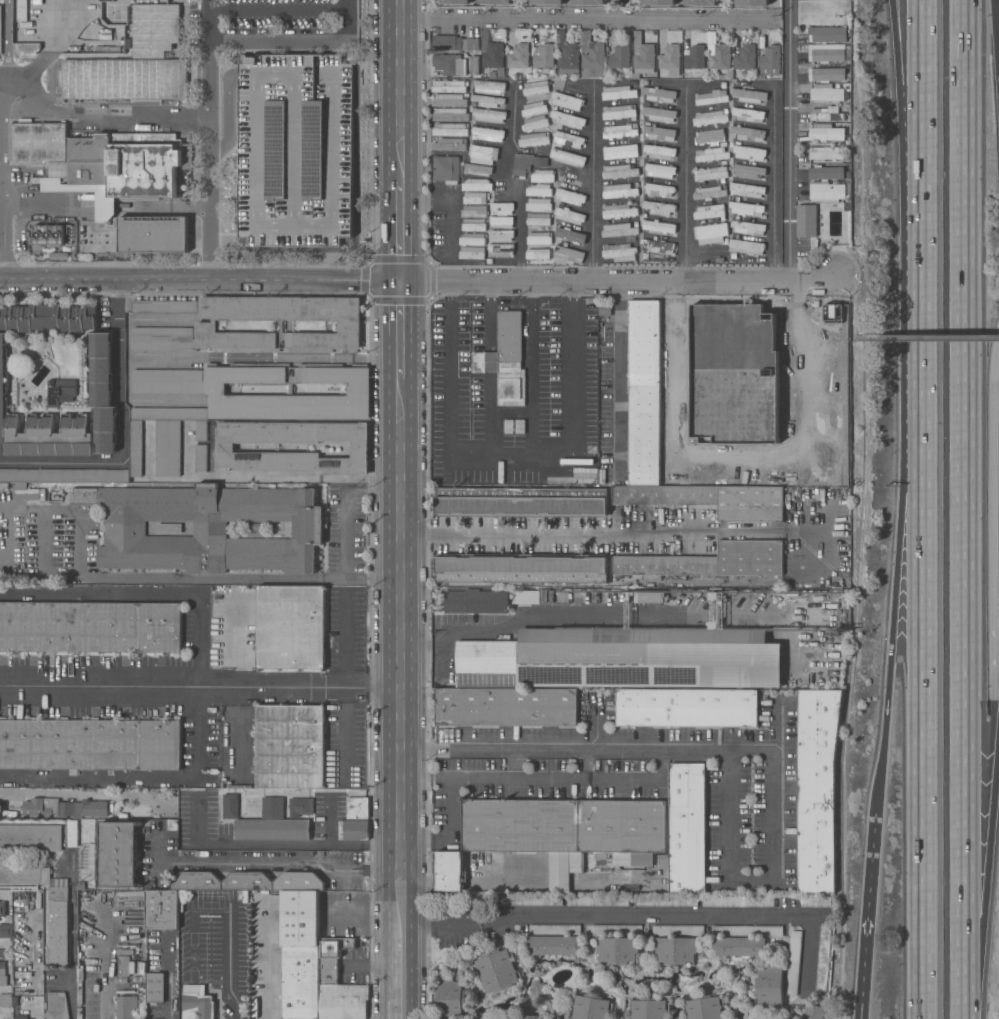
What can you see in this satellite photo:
building: (454, 1)
road: (474, 1)
building: (496, 2)
building: (547, 2)
road: (567, 2)
building: (589, 2)
building: (660, 2)
building: (701, 2)
building: (753, 2)
road: (586, 20)
road: (997, 20)
building: (155, 29)
building: (828, 34)
road: (6, 38)
road: (297, 39)
road: (51, 43)
building: (718, 53)
building: (473, 54)
building: (567, 55)
building: (642, 55)
building: (669, 55)
building: (827, 55)
building: (448, 56)
building: (519, 56)
building: (544, 56)
building: (592, 56)
building: (619, 57)
building: (695, 57)
building: (745, 57)
building: (494, 59)
building: (770, 60)
building: (827, 74)
building: (124, 79)
building: (448, 86)
building: (488, 86)
building: (535, 87)
road: (402, 91)
building: (618, 92)
building: (827, 92)
road: (910, 93)
road: (921, 93)
building: (659, 94)
building: (749, 95)
building: (267, 97)
building: (712, 97)
building: (803, 97)
building: (449, 100)
building: (487, 100)
building: (566, 100)
building: (534, 109)
building: (618, 111)
building: (450, 114)
building: (660, 114)
building: (748, 114)
building: (827, 114)
road: (95, 115)
building: (488, 115)
building: (710, 118)
building: (568, 119)
road: (1, 122)
building: (535, 123)
building: (449, 129)
building: (619, 131)
building: (827, 132)
building: (659, 133)
building: (748, 133)
building: (488, 134)
building: (709, 136)
road: (209, 139)
building: (533, 139)
building: (567, 139)
building: (38, 141)
road: (789, 141)
building: (449, 144)
building: (659, 151)
building: (620, 152)
building: (750, 153)
building: (827, 153)
building: (483, 154)
building: (712, 154)
building: (567, 157)
building: (124, 164)
building: (522, 164)
building: (446, 169)
building: (477, 169)
building: (659, 170)
building: (619, 171)
building: (749, 171)
building: (711, 174)
building: (542, 176)
building: (828, 183)
road: (593, 184)
building: (477, 185)
road: (771, 185)
road: (511, 186)
building: (659, 189)
road: (684, 189)
building: (539, 190)
building: (747, 190)
building: (619, 191)
building: (710, 192)
building: (570, 196)
building: (474, 197)
road: (31, 199)
road: (449, 200)
building: (539, 204)
building: (172, 206)
building: (659, 207)
building: (502, 208)
building: (746, 208)
building: (474, 211)
building: (619, 211)
building: (709, 211)
building: (570, 216)
building: (538, 219)
road: (921, 219)
building: (807, 221)
building: (501, 222)
road: (1, 223)
building: (474, 225)
building: (659, 227)
building: (747, 227)
building: (619, 230)
road: (402, 231)
building: (711, 233)
building: (49, 234)
building: (153, 234)
building: (502, 235)
building: (570, 235)
building: (539, 238)
building: (472, 239)
building: (657, 246)
building: (747, 247)
building: (501, 249)
building: (620, 252)
building: (472, 253)
building: (568, 253)
building: (537, 254)
road: (201, 279)
traffic signals: (402, 281)
road: (621, 282)
road: (854, 303)
building: (164, 306)
building: (47, 317)
road: (489, 317)
building: (206, 324)
building: (586, 327)
road: (402, 329)
road: (928, 339)
building: (700, 353)
road: (266, 357)
building: (741, 358)
building: (505, 359)
building: (720, 359)
road: (490, 362)
road: (530, 371)
building: (663, 371)
building: (587, 377)
road: (616, 378)
building: (780, 380)
building: (830, 381)
building: (3, 388)
building: (102, 391)
building: (61, 392)
building: (178, 392)
building: (644, 393)
building: (846, 394)
road: (490, 416)
building: (514, 426)
road: (122, 430)
building: (50, 436)
building: (359, 448)
building: (167, 455)
building: (200, 457)
road: (508, 459)
road: (747, 467)
building: (535, 477)
road: (206, 478)
building: (719, 479)
road: (361, 480)
building: (53, 495)
building: (710, 499)
building: (521, 502)
road: (967, 509)
building: (169, 528)
building: (203, 528)
building: (256, 530)
road: (582, 532)
road: (346, 535)
road: (899, 535)
building: (708, 561)
road: (994, 565)
building: (521, 568)
road: (144, 595)
building: (531, 597)
building: (646, 597)
building: (475, 601)
road: (403, 625)
building: (90, 627)
building: (290, 627)
road: (506, 627)
road: (920, 636)
road: (343, 639)
building: (622, 658)
road: (300, 687)
road: (99, 688)
building: (506, 706)
building: (686, 707)
road: (597, 728)
road: (777, 728)
building: (90, 744)
building: (290, 746)
road: (532, 750)
road: (723, 751)
road: (514, 764)
road: (583, 765)
road: (998, 774)
road: (146, 779)
building: (817, 788)
building: (187, 795)
building: (230, 806)
building: (271, 807)
building: (300, 807)
building: (63, 808)
building: (357, 808)
road: (450, 811)
building: (564, 826)
building: (687, 827)
building: (272, 829)
building: (353, 829)
building: (72, 833)
building: (30, 837)
building: (118, 854)
road: (280, 866)
building: (449, 871)
building: (605, 871)
building: (25, 875)
building: (247, 881)
building: (58, 894)
building: (530, 900)
building: (597, 900)
building: (666, 900)
building: (738, 901)
building: (815, 901)
road: (388, 902)
road: (989, 903)
building: (180, 904)
building: (2, 909)
building: (162, 910)
road: (642, 911)
road: (866, 918)
building: (554, 929)
building: (616, 930)
building: (677, 930)
building: (6, 931)
building: (747, 931)
building: (58, 932)
road: (411, 943)
building: (553, 945)
building: (739, 946)
building: (618, 950)
building: (676, 950)
building: (299, 952)
building: (2, 953)
building: (141, 955)
building: (331, 958)
building: (794, 962)
building: (822, 962)
road: (229, 965)
building: (124, 966)
road: (105, 967)
building: (496, 970)
road: (272, 973)
building: (2, 974)
road: (168, 977)
road: (387, 980)
building: (84, 981)
building: (769, 987)
building: (155, 988)
building: (537, 989)
building: (451, 998)
building: (6, 1000)
building: (343, 1001)
building: (55, 1006)
building: (197, 1006)
building: (127, 1007)
building: (590, 1007)
building: (704, 1007)
building: (648, 1008)
building: (255, 1009)
building: (814, 1012)
building: (22, 1016)
building: (530, 1017)
building: (244, 1018)

